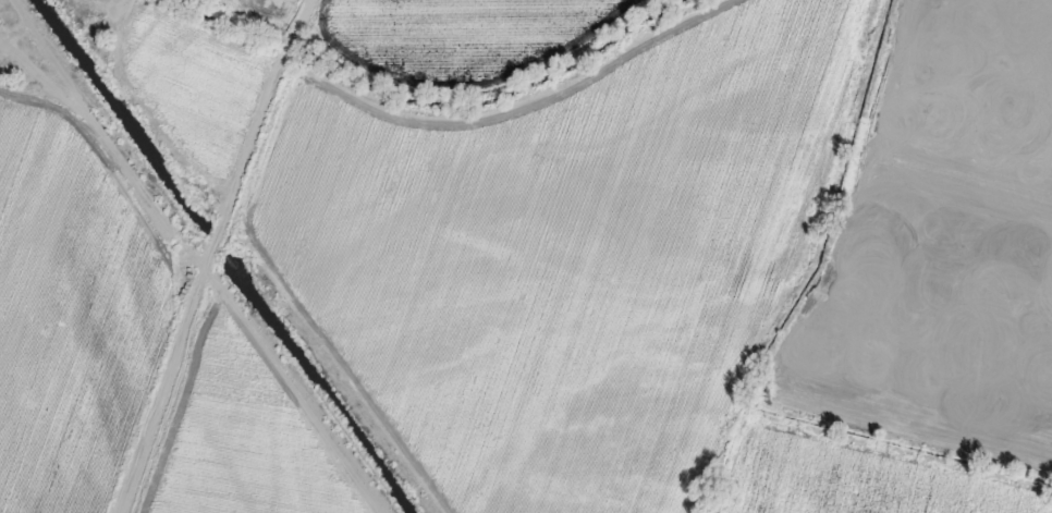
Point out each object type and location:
crop: (123, 355)

